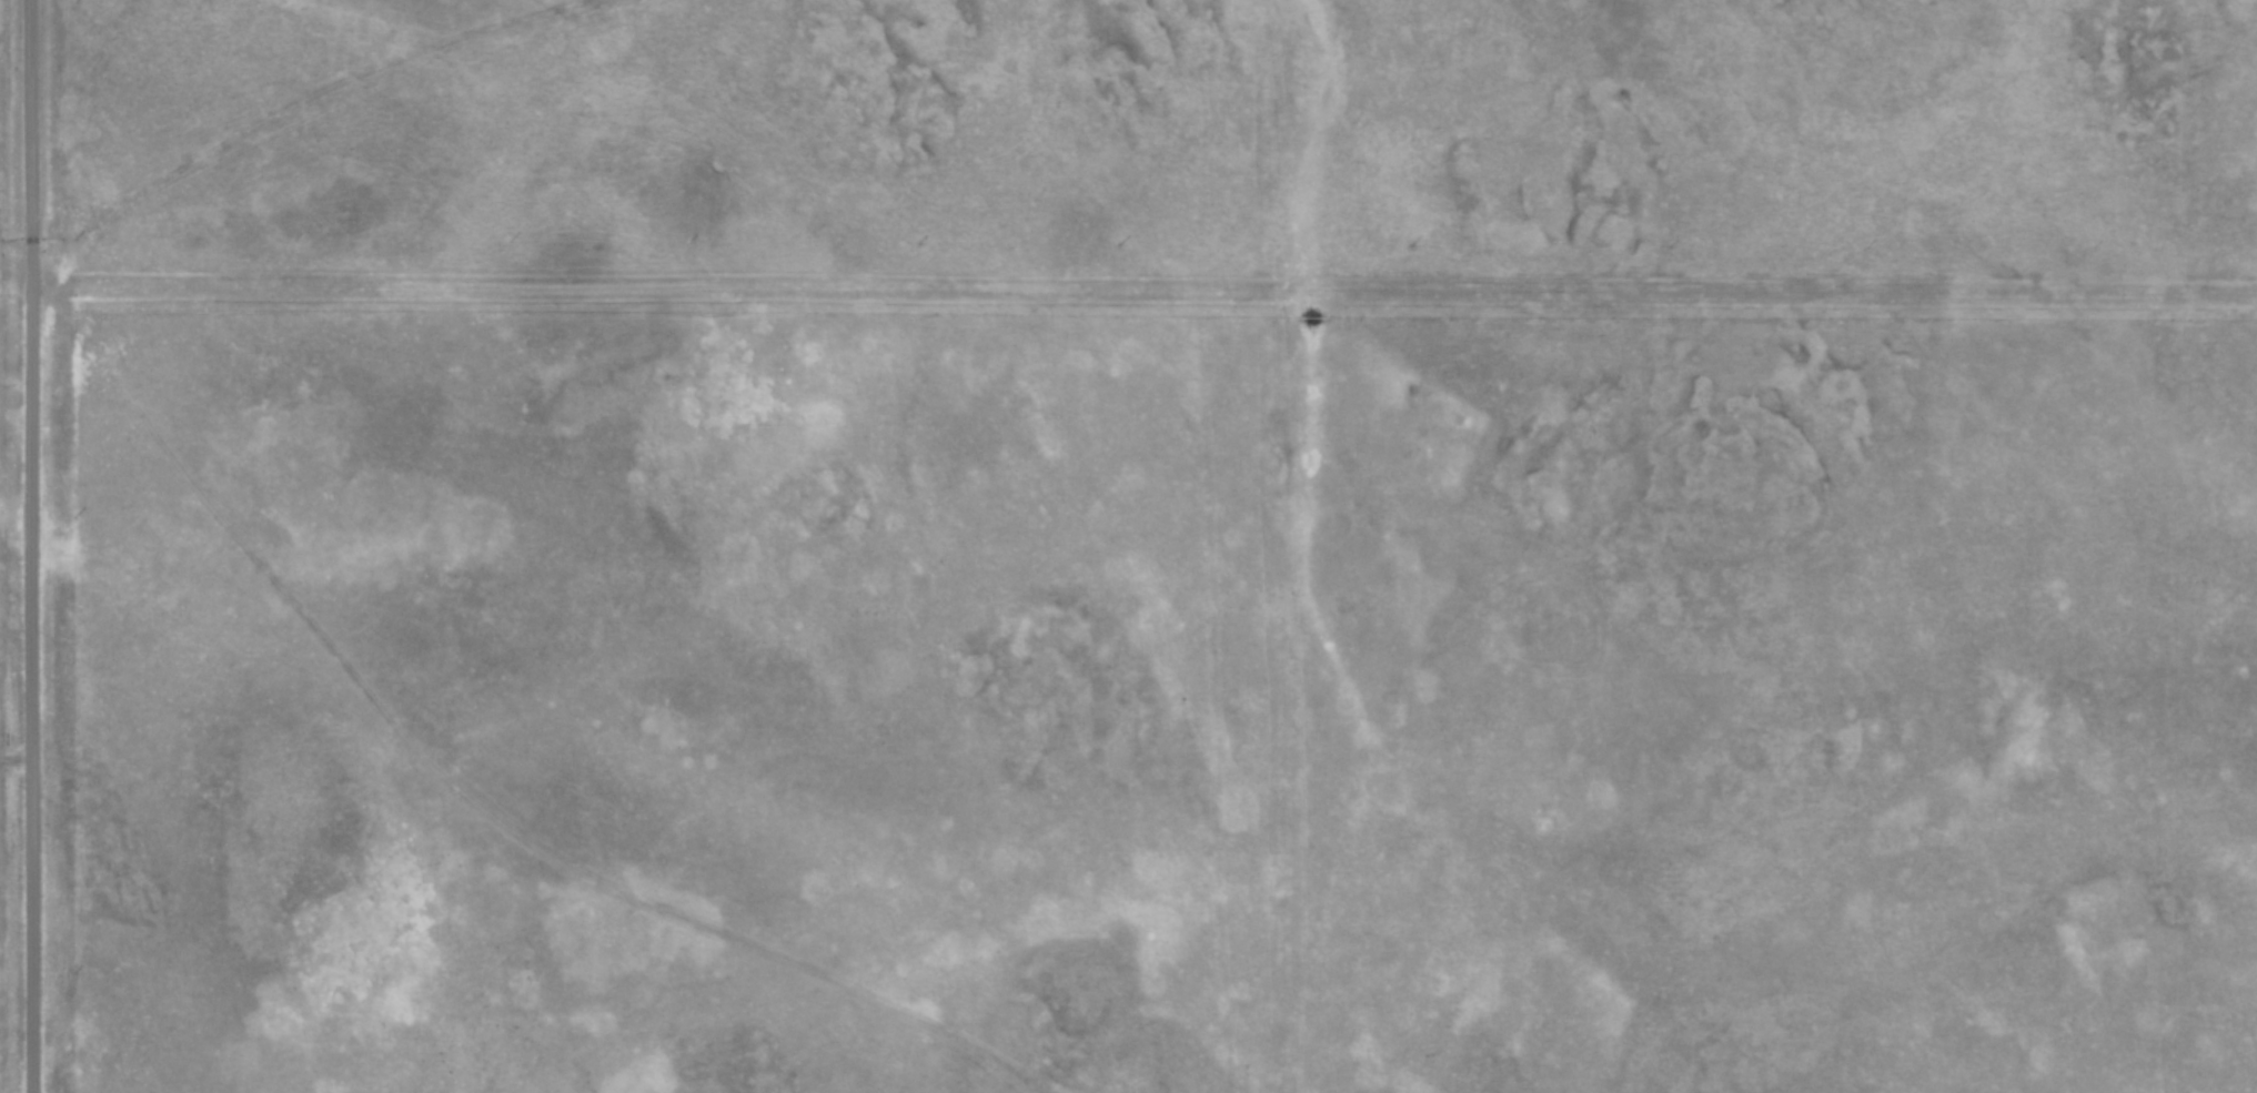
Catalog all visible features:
road: (1147, 293)
road: (38, 546)

